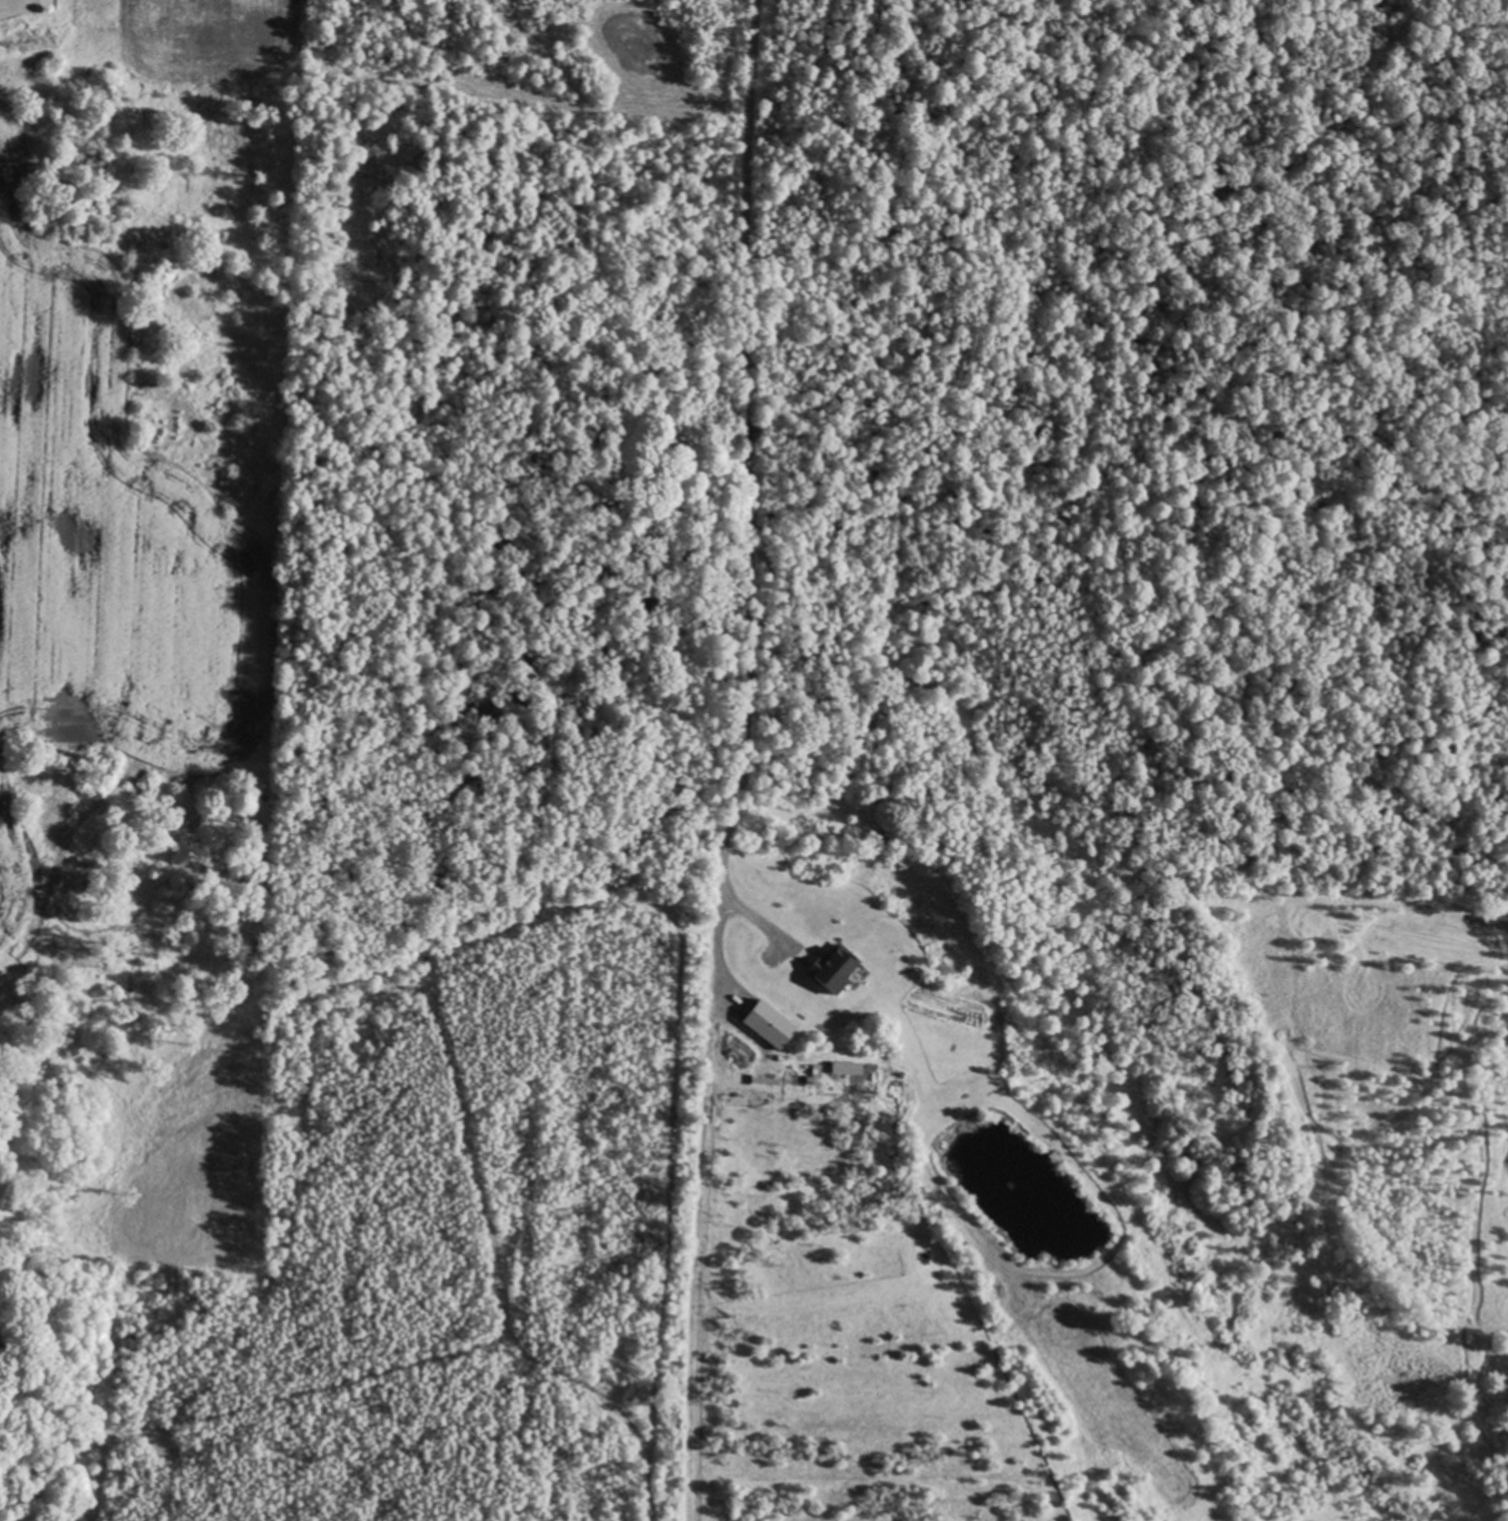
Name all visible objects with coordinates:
road: (743, 461)
building: (831, 970)
building: (769, 1025)
building: (846, 1069)
building: (816, 1074)
building: (1053, 1157)
building: (978, 1257)

